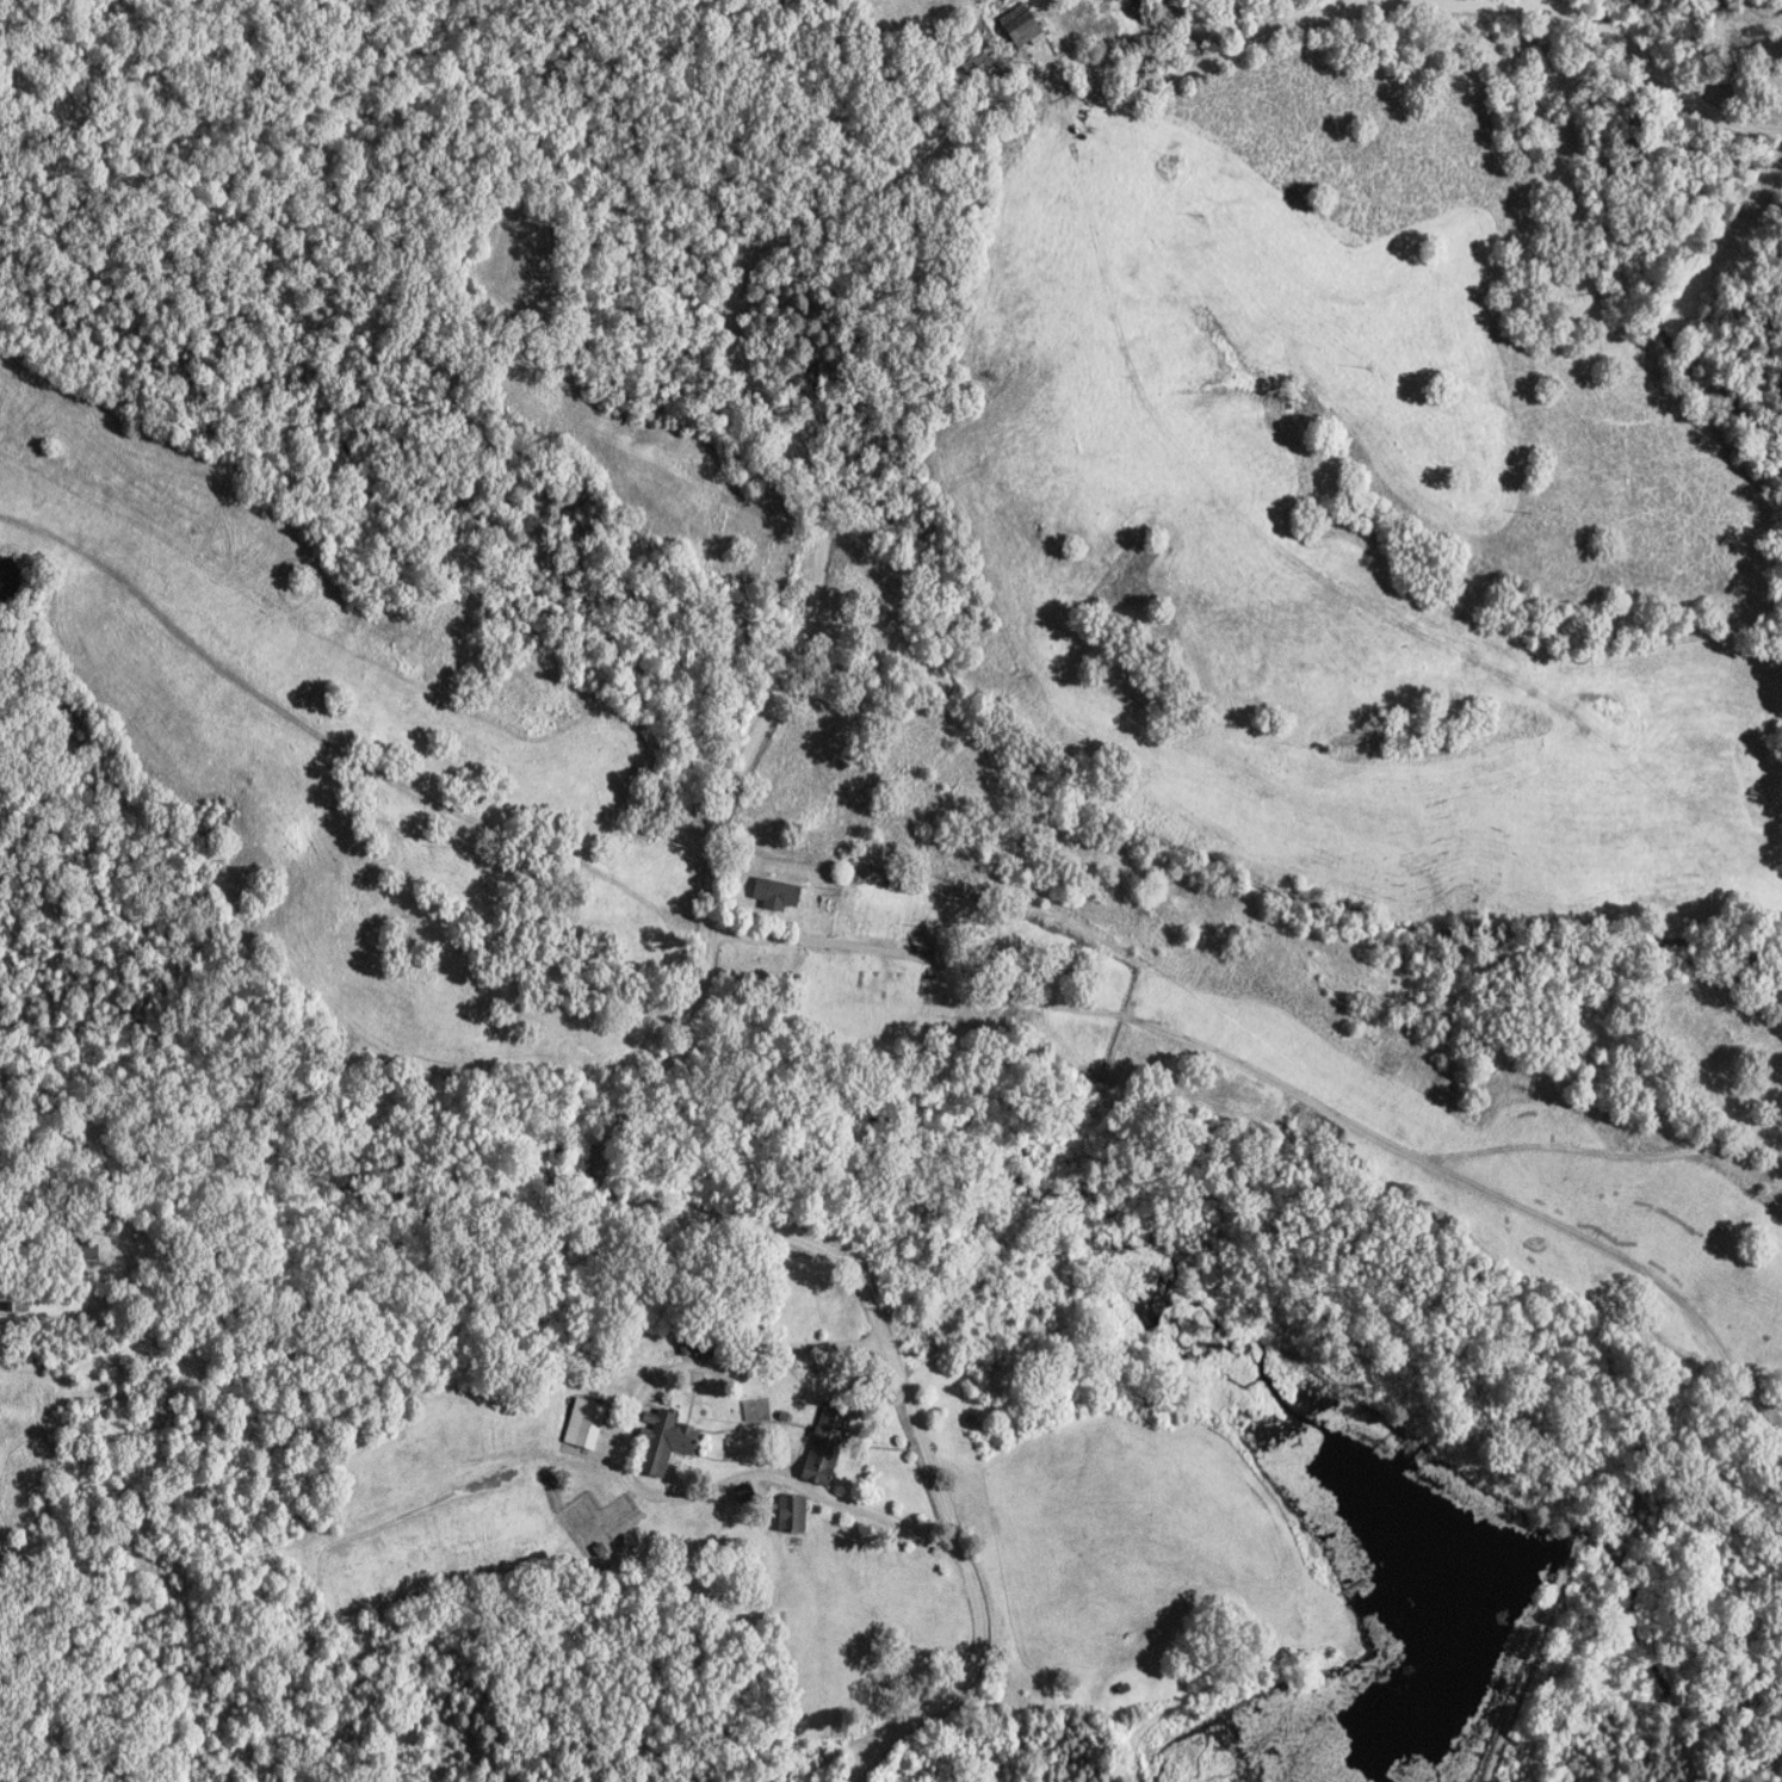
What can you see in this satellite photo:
building: (1025, 26)
road: (1669, 75)
road: (713, 837)
building: (779, 892)
building: (586, 1423)
building: (666, 1442)
building: (825, 1443)
road: (631, 1483)
building: (747, 1493)
building: (794, 1512)
building: (632, 1540)

